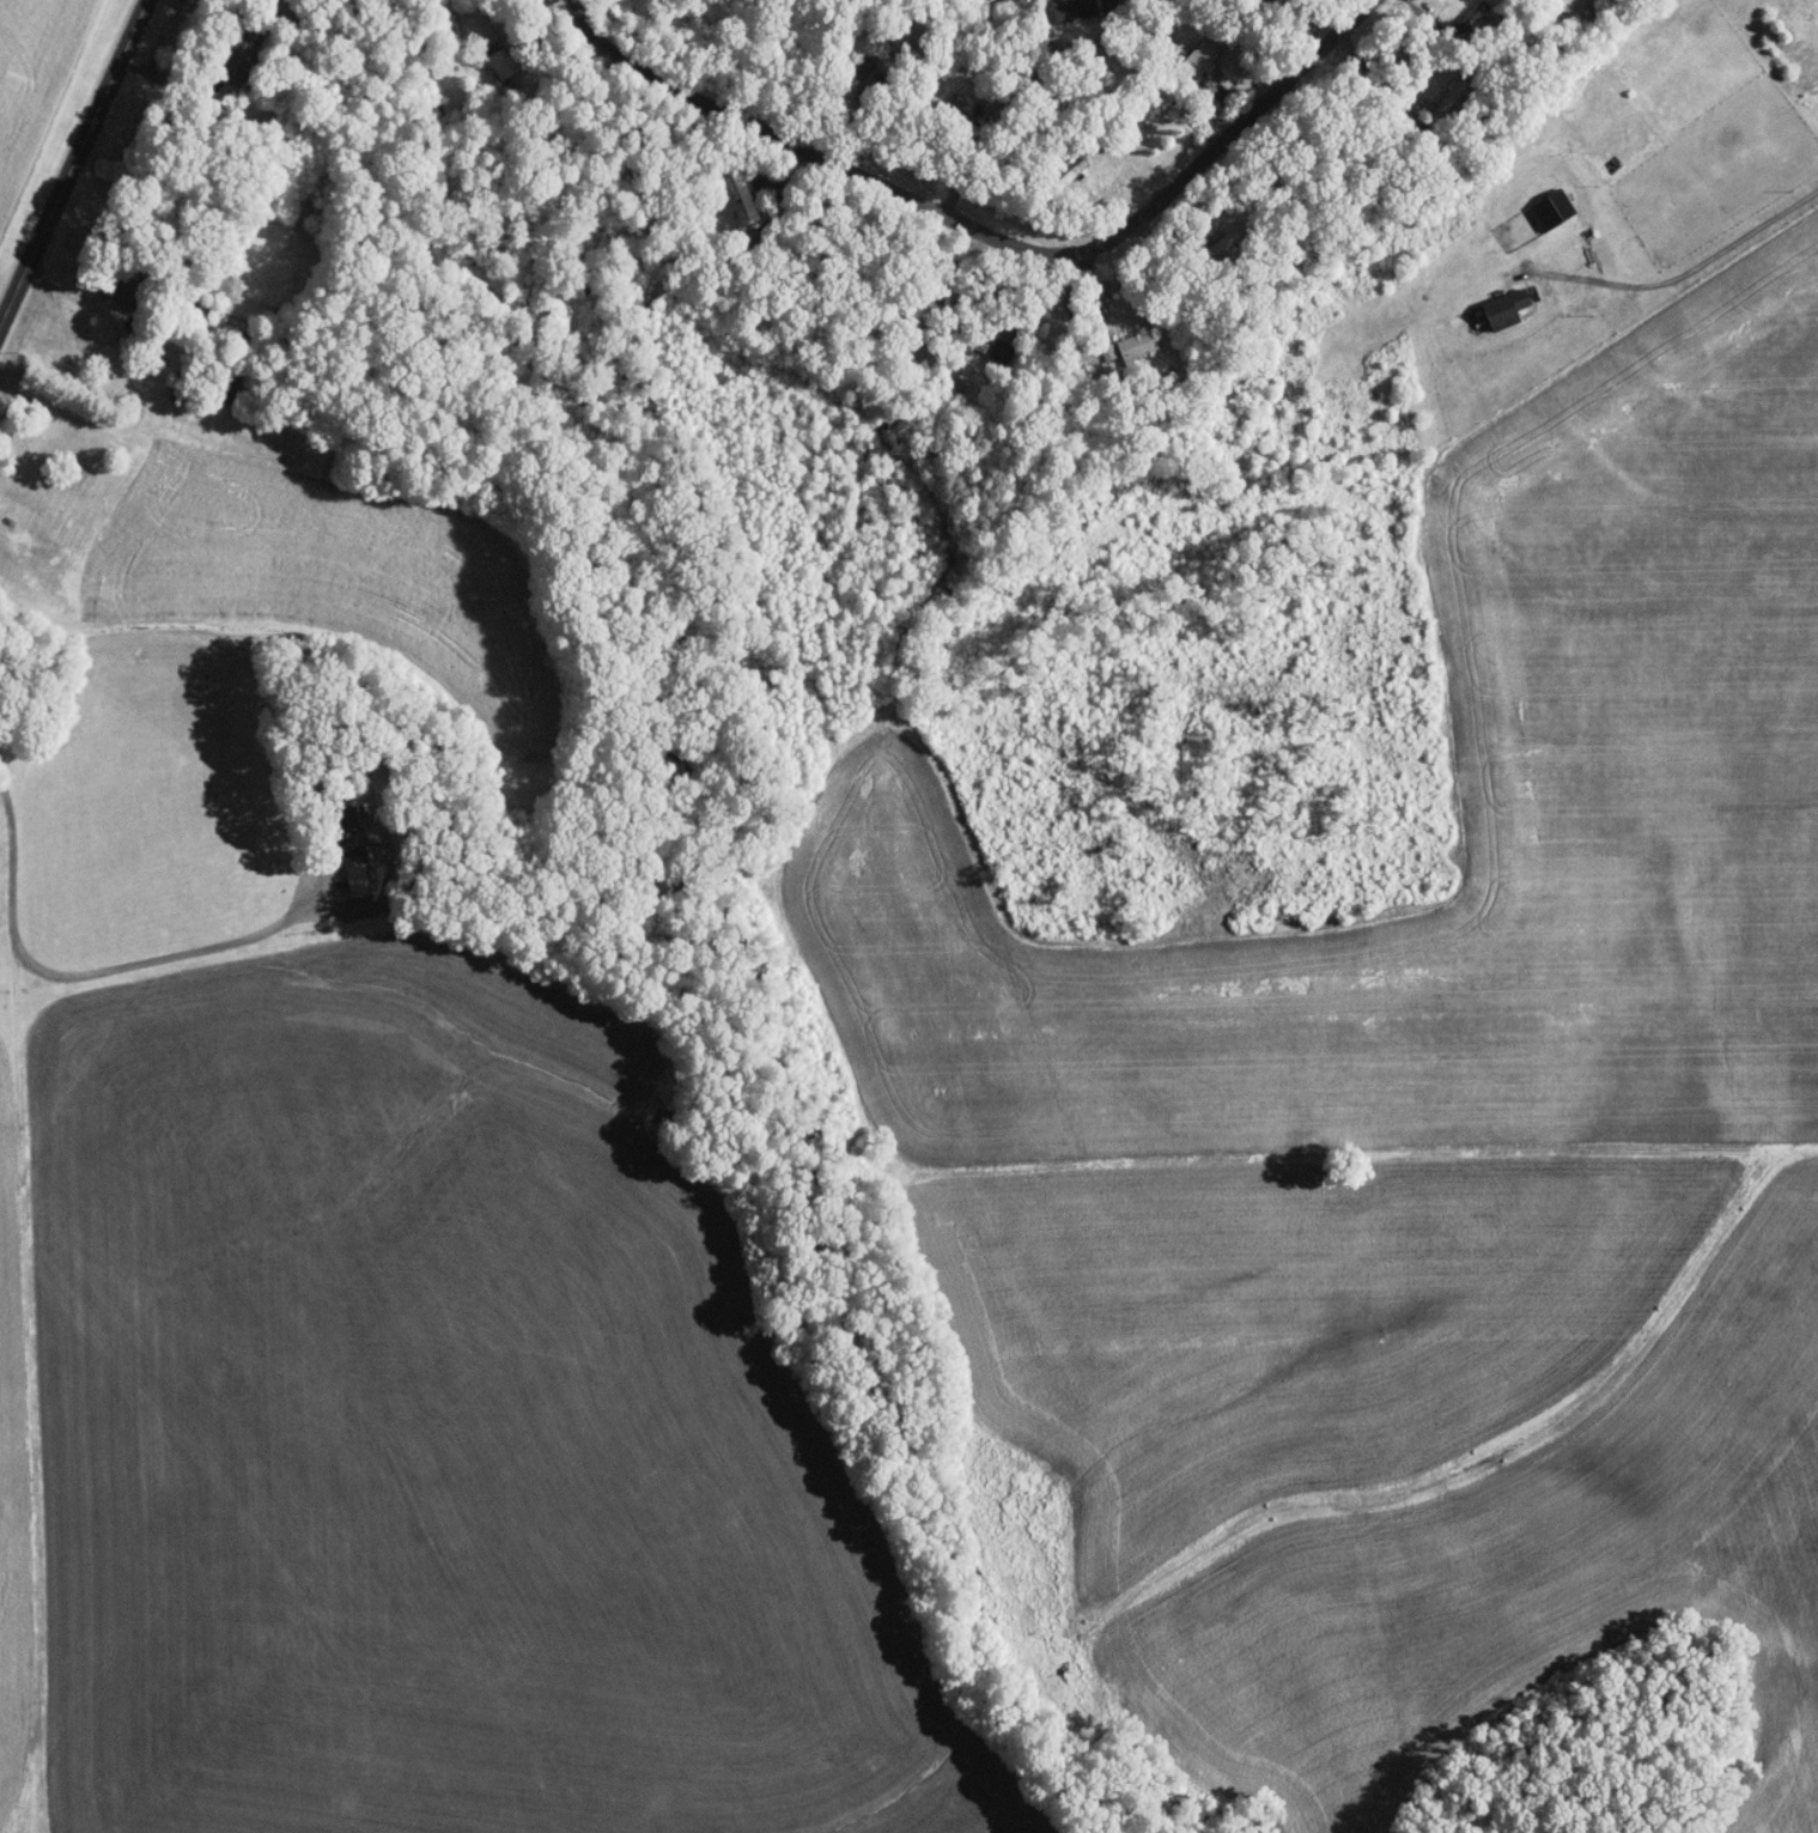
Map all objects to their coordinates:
road: (1109, 5)
building: (1074, 8)
road: (1334, 12)
building: (1150, 30)
building: (1203, 66)
road: (558, 68)
road: (169, 74)
road: (1251, 80)
road: (1327, 110)
road: (869, 135)
road: (722, 157)
road: (73, 164)
road: (961, 176)
road: (1214, 182)
road: (1103, 204)
road: (990, 235)
road: (1684, 272)
road: (68, 289)
road: (992, 289)
road: (1106, 295)
road: (1052, 298)
building: (1500, 306)
road: (29, 418)
building: (345, 842)
road: (91, 971)

